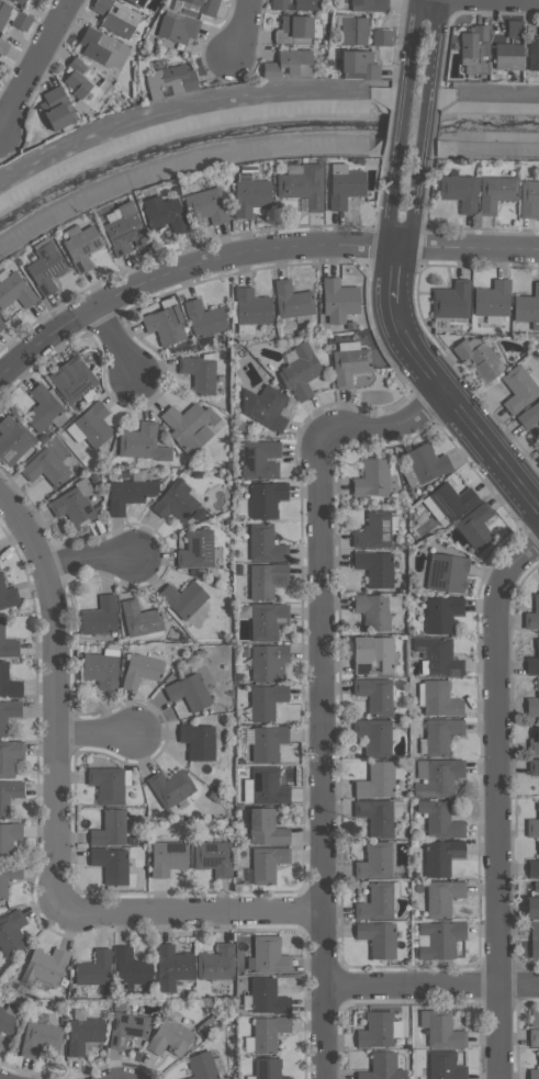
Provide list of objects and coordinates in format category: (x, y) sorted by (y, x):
building: (41, 0)
building: (19, 1)
building: (136, 2)
building: (279, 4)
building: (306, 4)
building: (371, 4)
building: (203, 5)
building: (3, 12)
building: (115, 16)
building: (20, 21)
building: (176, 29)
road: (240, 29)
building: (292, 29)
building: (513, 29)
building: (352, 30)
building: (380, 36)
building: (2, 46)
road: (419, 46)
building: (102, 47)
building: (473, 50)
building: (532, 52)
building: (506, 56)
road: (35, 63)
building: (289, 64)
building: (357, 65)
building: (169, 78)
building: (83, 83)
building: (55, 108)
road: (409, 128)
building: (301, 186)
building: (343, 186)
building: (458, 191)
building: (494, 192)
building: (248, 195)
building: (528, 198)
building: (204, 205)
building: (161, 213)
building: (123, 228)
building: (80, 247)
road: (252, 252)
building: (44, 267)
building: (14, 290)
building: (491, 299)
building: (291, 300)
building: (338, 300)
building: (450, 300)
building: (251, 306)
building: (527, 306)
building: (203, 318)
building: (1, 324)
building: (164, 324)
road: (113, 342)
road: (415, 356)
building: (478, 358)
building: (348, 366)
building: (299, 371)
building: (199, 372)
building: (71, 379)
building: (517, 389)
building: (263, 406)
building: (43, 409)
building: (529, 415)
building: (92, 424)
building: (188, 425)
building: (12, 439)
building: (142, 442)
building: (537, 451)
building: (259, 459)
building: (423, 464)
building: (45, 467)
building: (373, 479)
building: (127, 493)
building: (265, 498)
building: (450, 499)
building: (175, 502)
building: (72, 504)
building: (475, 527)
building: (372, 530)
building: (263, 542)
building: (195, 549)
road: (92, 561)
building: (374, 567)
building: (445, 573)
building: (266, 580)
building: (7, 594)
building: (181, 598)
building: (372, 610)
building: (440, 614)
building: (532, 614)
building: (99, 616)
building: (139, 618)
building: (266, 620)
building: (8, 645)
building: (371, 654)
building: (437, 655)
building: (532, 660)
building: (267, 662)
building: (100, 670)
building: (139, 670)
building: (8, 683)
road: (317, 687)
building: (188, 690)
building: (374, 695)
road: (56, 698)
building: (438, 698)
building: (265, 700)
building: (532, 701)
building: (8, 712)
road: (99, 732)
building: (439, 734)
building: (372, 735)
building: (196, 741)
building: (266, 742)
building: (534, 742)
building: (9, 756)
building: (532, 766)
building: (438, 777)
building: (375, 780)
building: (105, 784)
building: (168, 786)
building: (267, 786)
building: (8, 795)
road: (497, 802)
building: (374, 816)
building: (438, 819)
building: (532, 824)
building: (265, 828)
building: (108, 829)
building: (8, 838)
building: (439, 856)
building: (166, 857)
building: (212, 857)
building: (373, 861)
building: (266, 863)
building: (110, 864)
building: (532, 864)
building: (8, 875)
building: (536, 886)
building: (441, 897)
building: (375, 902)
building: (531, 907)
road: (189, 912)
building: (10, 932)
building: (377, 937)
building: (437, 938)
building: (534, 940)
building: (267, 955)
building: (214, 963)
building: (44, 965)
building: (170, 966)
building: (128, 967)
building: (92, 968)
road: (430, 986)
building: (266, 997)
building: (9, 1016)
building: (206, 1023)
building: (125, 1029)
building: (439, 1029)
building: (375, 1030)
building: (267, 1032)
building: (81, 1033)
building: (169, 1037)
building: (532, 1037)
building: (38, 1038)
building: (443, 1065)
building: (201, 1066)
building: (381, 1067)
building: (267, 1068)
building: (534, 1071)

